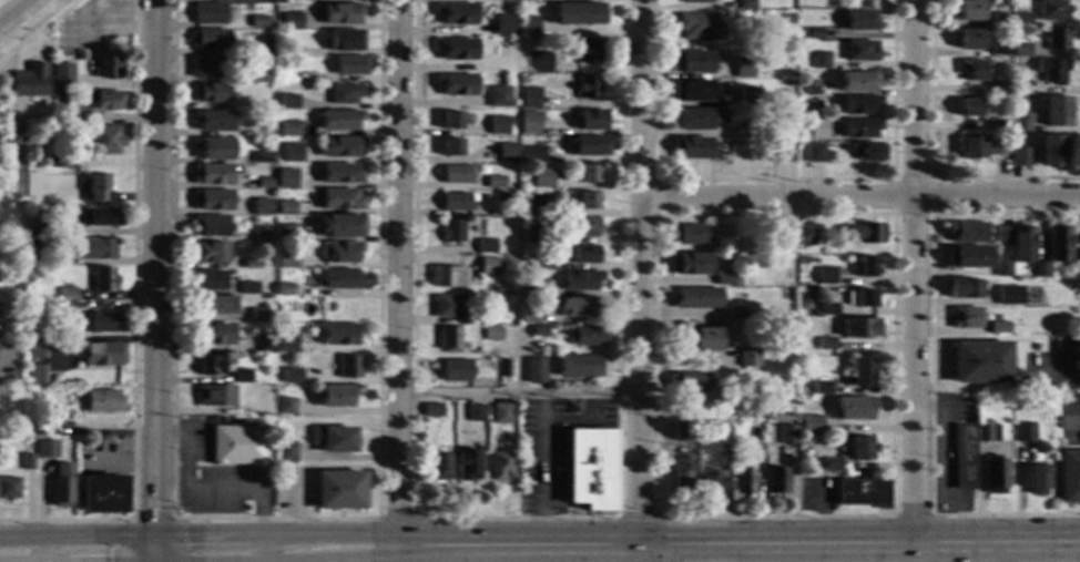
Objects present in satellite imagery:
building: (503, 0)
building: (694, 1)
building: (746, 4)
building: (122, 7)
building: (969, 10)
building: (1052, 10)
road: (0, 13)
road: (18, 13)
building: (210, 13)
building: (342, 13)
building: (457, 13)
building: (577, 13)
building: (787, 18)
building: (998, 19)
building: (1020, 19)
building: (859, 20)
building: (259, 21)
building: (291, 21)
building: (505, 25)
building: (529, 25)
building: (696, 25)
road: (35, 27)
building: (814, 33)
building: (210, 39)
building: (969, 39)
building: (1057, 39)
building: (346, 41)
building: (263, 48)
building: (457, 49)
building: (999, 49)
building: (587, 50)
building: (1020, 50)
building: (292, 51)
building: (860, 51)
building: (80, 55)
building: (821, 60)
building: (541, 62)
building: (693, 62)
building: (108, 65)
building: (350, 65)
building: (205, 67)
building: (743, 69)
building: (972, 70)
building: (1051, 70)
building: (62, 76)
building: (262, 76)
building: (29, 81)
building: (858, 82)
building: (457, 84)
building: (588, 86)
building: (811, 88)
building: (999, 88)
building: (1020, 88)
building: (693, 90)
building: (212, 93)
building: (344, 93)
building: (498, 96)
building: (530, 96)
building: (748, 96)
building: (109, 101)
building: (288, 101)
building: (68, 102)
building: (262, 104)
building: (860, 104)
building: (818, 105)
building: (969, 108)
building: (1056, 112)
building: (82, 116)
building: (340, 120)
building: (451, 120)
building: (699, 120)
building: (214, 121)
building: (591, 121)
building: (1020, 121)
building: (530, 122)
building: (499, 125)
building: (761, 126)
building: (999, 126)
building: (860, 127)
building: (287, 129)
building: (817, 129)
building: (266, 131)
building: (13, 134)
building: (105, 140)
building: (340, 146)
building: (589, 146)
building: (970, 146)
building: (997, 146)
building: (452, 147)
building: (691, 147)
building: (214, 149)
building: (1051, 150)
building: (507, 152)
building: (783, 152)
building: (867, 152)
building: (293, 153)
building: (532, 153)
building: (814, 153)
building: (1019, 156)
building: (263, 157)
building: (62, 163)
road: (929, 165)
building: (213, 174)
building: (340, 174)
building: (589, 174)
building: (458, 175)
building: (543, 178)
building: (283, 180)
road: (929, 180)
road: (773, 181)
building: (495, 182)
building: (264, 183)
building: (1, 184)
building: (96, 190)
building: (29, 194)
road: (656, 198)
road: (862, 198)
building: (212, 200)
building: (342, 200)
building: (588, 200)
building: (458, 202)
building: (532, 204)
building: (262, 206)
building: (286, 207)
road: (893, 214)
building: (102, 217)
building: (39, 224)
building: (212, 225)
building: (340, 226)
building: (584, 228)
building: (286, 232)
building: (452, 232)
building: (532, 232)
building: (865, 233)
building: (967, 233)
building: (689, 234)
building: (1001, 234)
building: (805, 235)
building: (259, 236)
building: (784, 239)
building: (28, 243)
building: (1020, 243)
building: (1057, 243)
building: (486, 246)
building: (98, 248)
building: (211, 252)
building: (340, 252)
building: (43, 255)
building: (584, 255)
building: (967, 257)
building: (286, 258)
building: (803, 260)
building: (542, 263)
building: (721, 263)
building: (2, 264)
building: (251, 264)
building: (691, 265)
building: (489, 266)
building: (865, 267)
building: (1001, 268)
building: (1039, 269)
building: (1077, 269)
building: (825, 275)
road: (913, 275)
road: (153, 276)
road: (643, 276)
building: (447, 277)
building: (103, 279)
building: (340, 279)
building: (581, 279)
building: (726, 279)
building: (211, 280)
road: (398, 280)
building: (1074, 283)
building: (967, 287)
building: (247, 288)
building: (67, 289)
building: (284, 289)
building: (527, 292)
building: (1001, 297)
building: (696, 298)
building: (865, 298)
building: (217, 305)
building: (448, 306)
building: (579, 306)
building: (65, 309)
building: (828, 309)
building: (737, 311)
building: (258, 315)
building: (529, 315)
building: (966, 318)
building: (105, 323)
road: (134, 327)
building: (859, 328)
building: (998, 329)
building: (538, 330)
building: (339, 334)
building: (491, 334)
building: (214, 335)
building: (587, 336)
building: (448, 338)
building: (701, 339)
building: (286, 340)
building: (265, 343)
building: (826, 344)
building: (1033, 347)
building: (35, 348)
building: (101, 355)
building: (746, 357)
building: (34, 361)
road: (518, 361)
building: (979, 362)
road: (929, 364)
building: (210, 366)
building: (580, 366)
building: (349, 367)
building: (503, 369)
building: (456, 370)
building: (534, 370)
building: (859, 372)
building: (35, 375)
building: (241, 375)
building: (292, 375)
building: (690, 382)
building: (51, 385)
building: (821, 388)
road: (521, 395)
building: (215, 396)
building: (337, 396)
building: (101, 400)
building: (286, 406)
building: (743, 408)
building: (850, 408)
building: (245, 410)
building: (432, 410)
building: (476, 413)
building: (501, 413)
road: (682, 417)
road: (1072, 420)
road: (580, 421)
building: (811, 425)
building: (34, 429)
building: (16, 431)
building: (682, 431)
building: (986, 432)
building: (1023, 432)
building: (785, 435)
building: (333, 439)
building: (237, 445)
building: (860, 448)
building: (45, 449)
parking lot: (553, 449)
building: (754, 450)
building: (286, 451)
building: (722, 452)
building: (964, 458)
building: (26, 462)
building: (468, 464)
building: (500, 466)
building: (831, 466)
building: (439, 467)
building: (591, 469)
road: (944, 472)
road: (541, 473)
building: (995, 473)
building: (681, 476)
building: (1069, 476)
building: (1035, 479)
parking lot: (216, 480)
building: (776, 480)
building: (743, 481)
building: (710, 482)
building: (61, 486)
building: (8, 488)
road: (211, 490)
building: (339, 490)
building: (862, 492)
building: (102, 494)
road: (911, 517)
road: (514, 518)
road: (635, 518)
road: (275, 520)
road: (396, 520)
road: (153, 521)
road: (859, 550)
traffic signals: (641, 552)
road: (77, 554)
traffic signals: (154, 554)
road: (397, 554)
road: (999, 555)
road: (641, 556)
road: (151, 558)
road: (155, 558)
road: (255, 559)
road: (295, 559)

